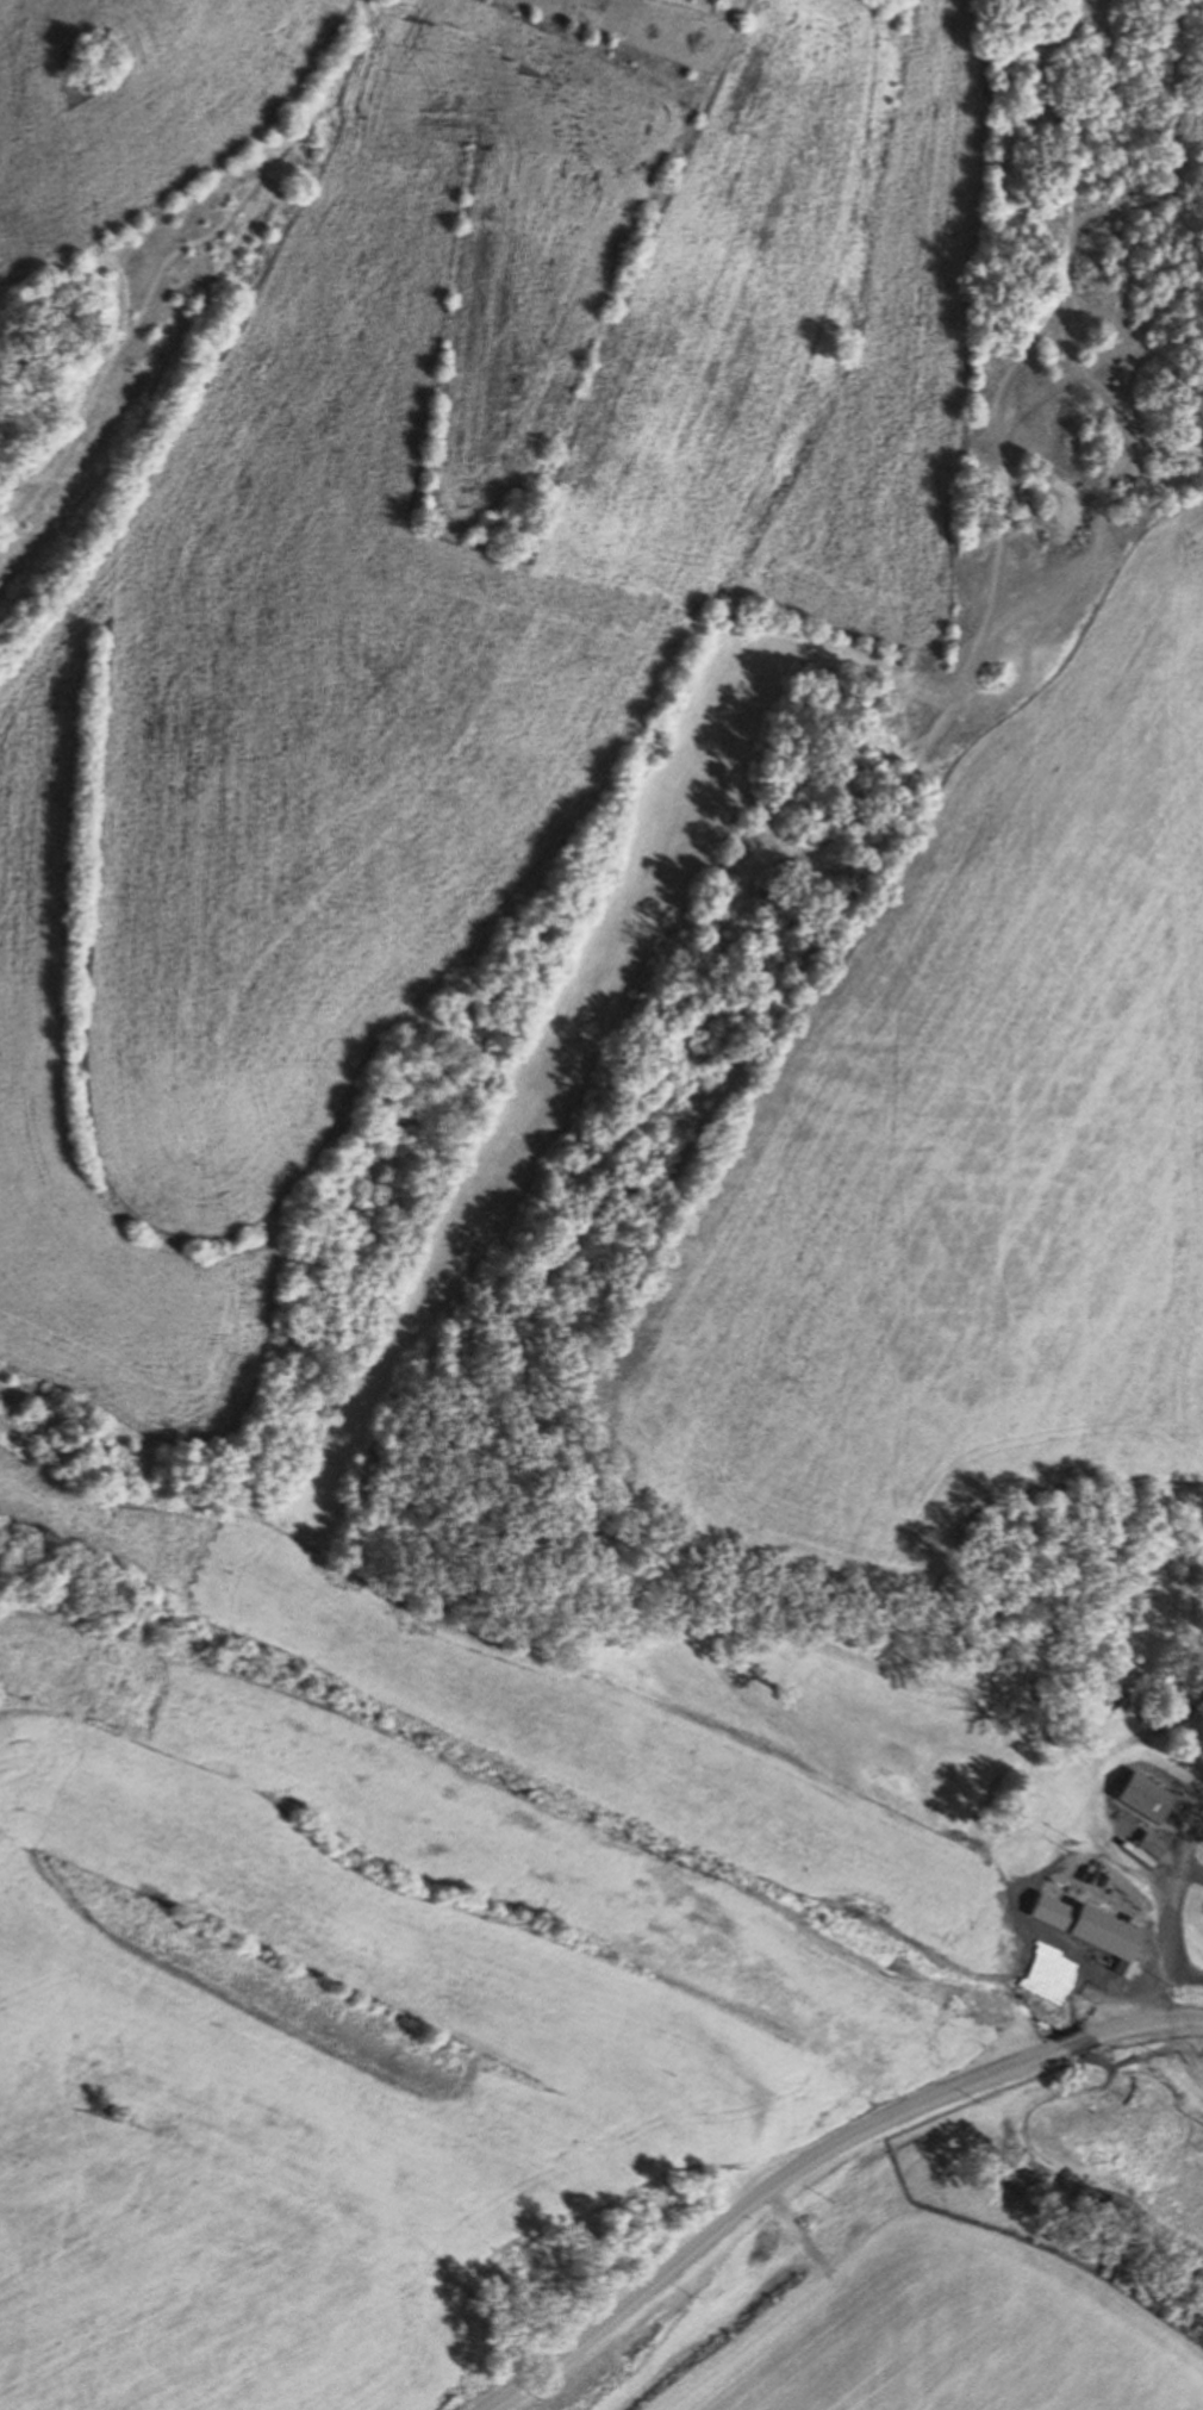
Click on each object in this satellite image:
building: (1145, 1796)
building: (1152, 1844)
building: (1098, 1923)
road: (1171, 1925)
road: (1146, 2020)
road: (1074, 2042)
road: (754, 2197)

